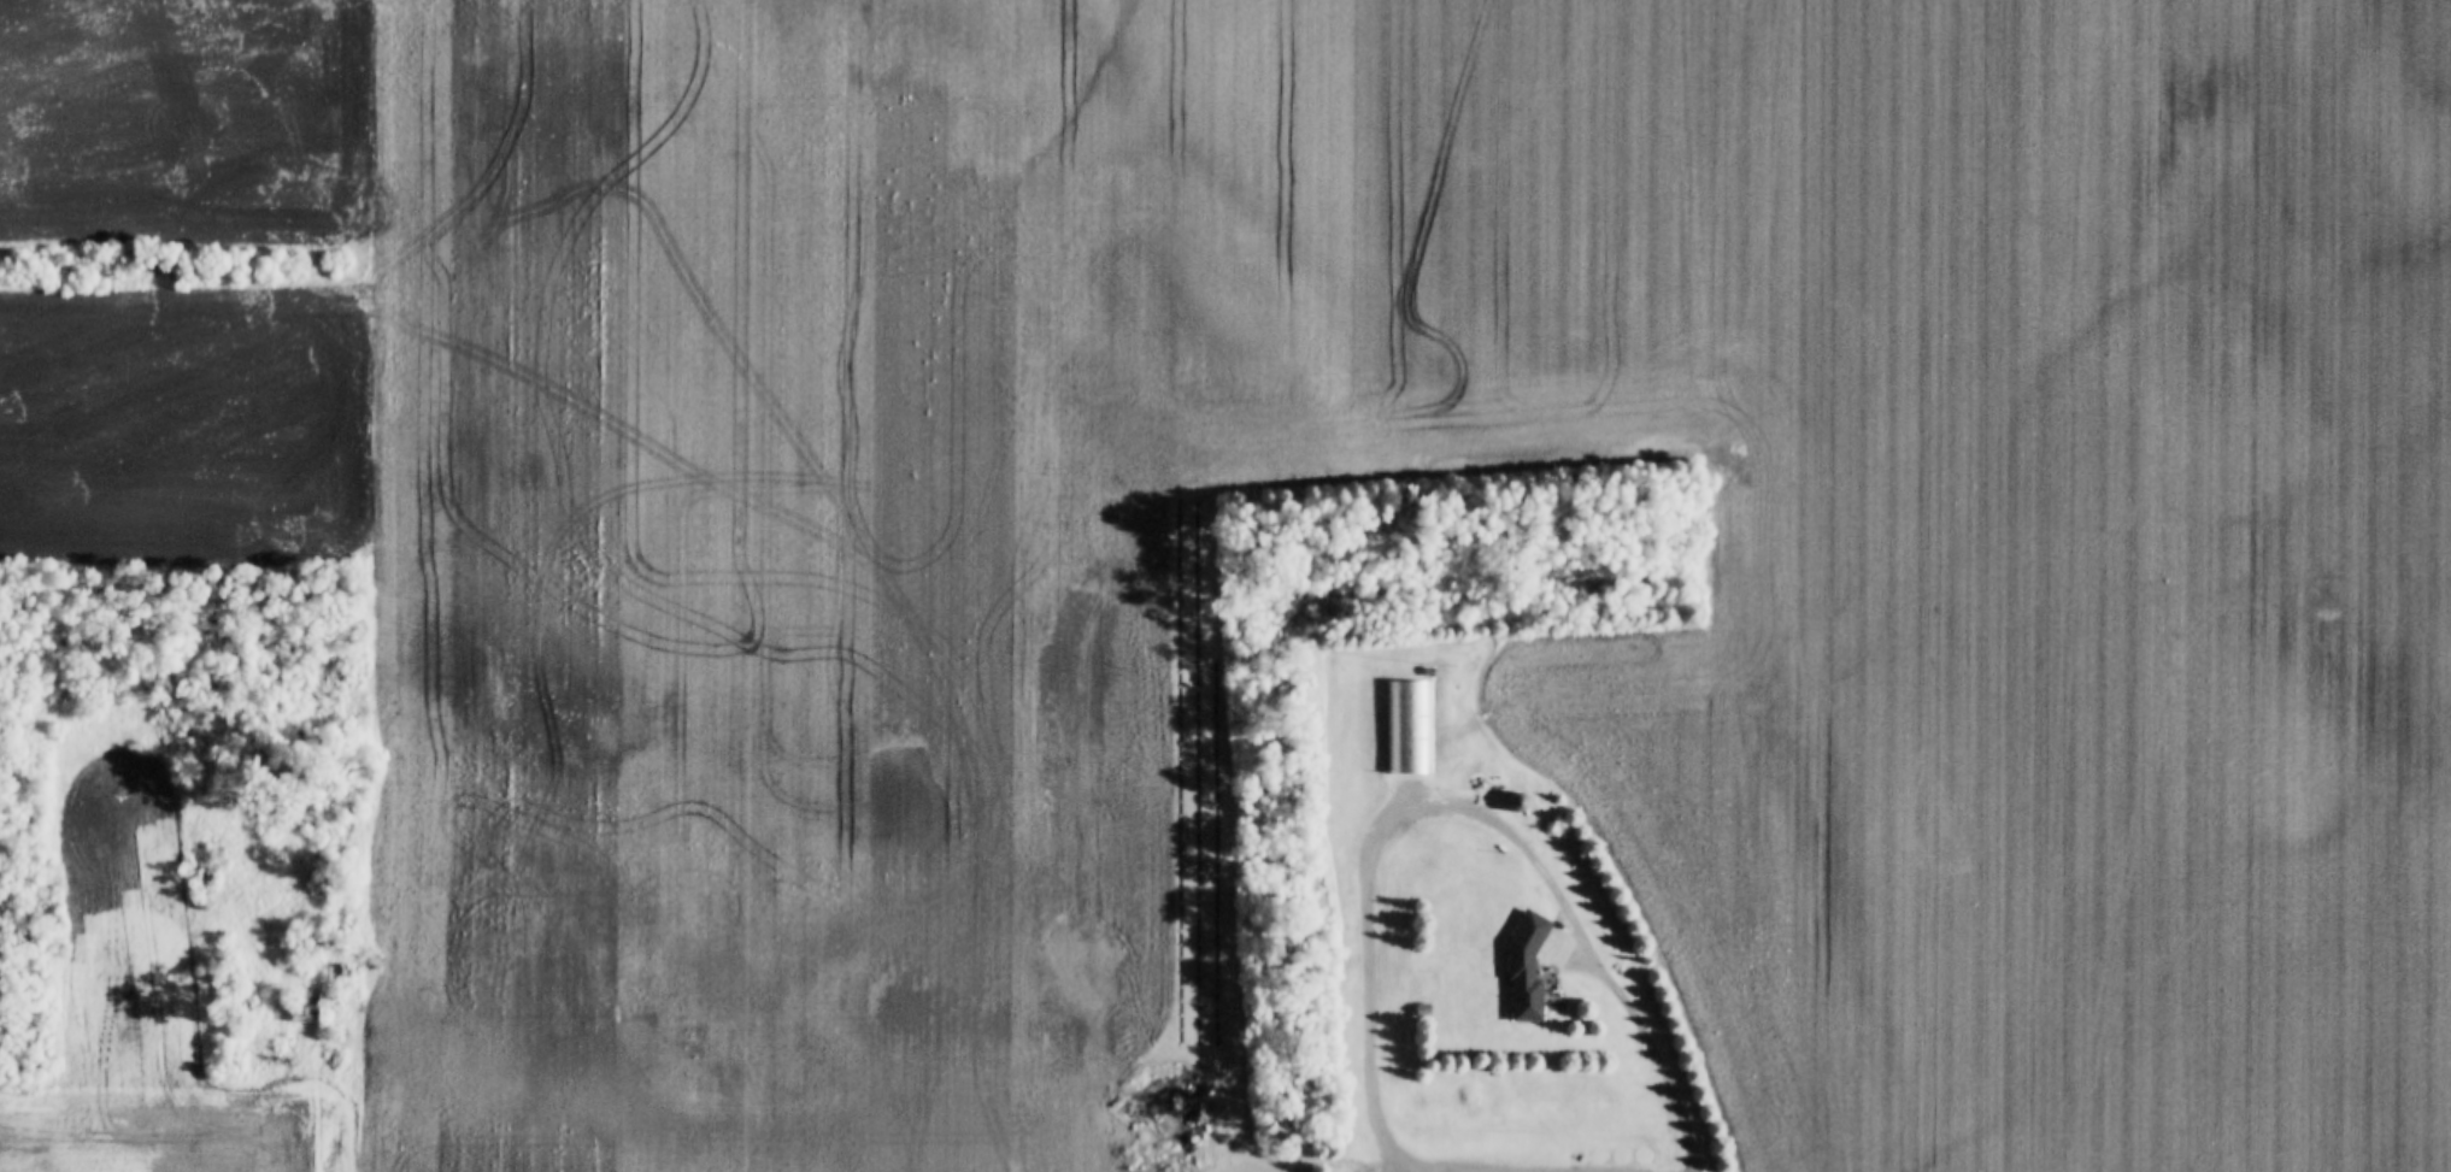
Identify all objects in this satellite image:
building: (1407, 728)
building: (1510, 803)
building: (1521, 966)
road: (1374, 983)
building: (295, 1013)
road: (296, 1126)

